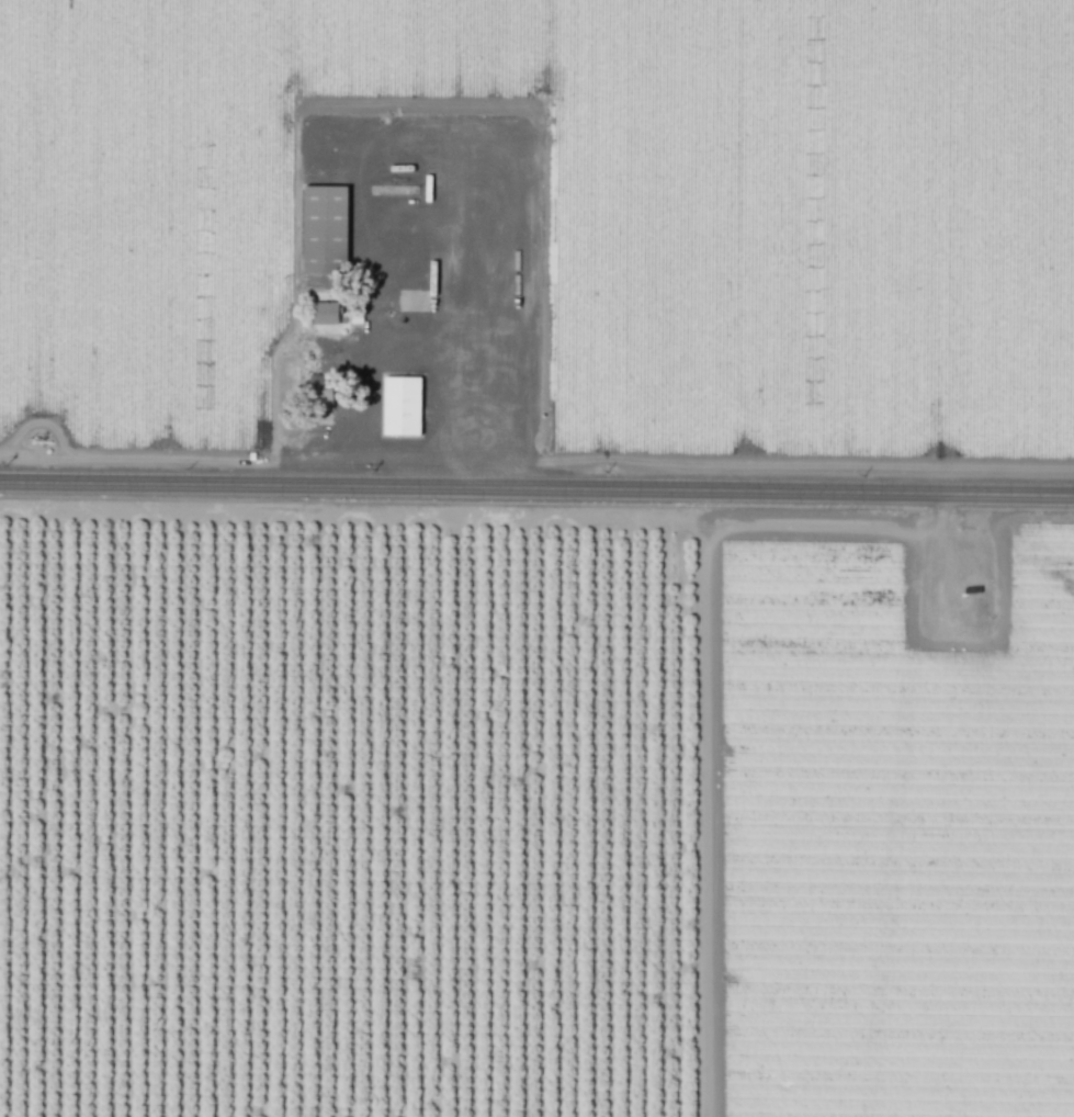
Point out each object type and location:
road: (361, 171)
building: (324, 228)
building: (324, 313)
road: (487, 318)
road: (366, 357)
building: (400, 405)
road: (536, 487)

